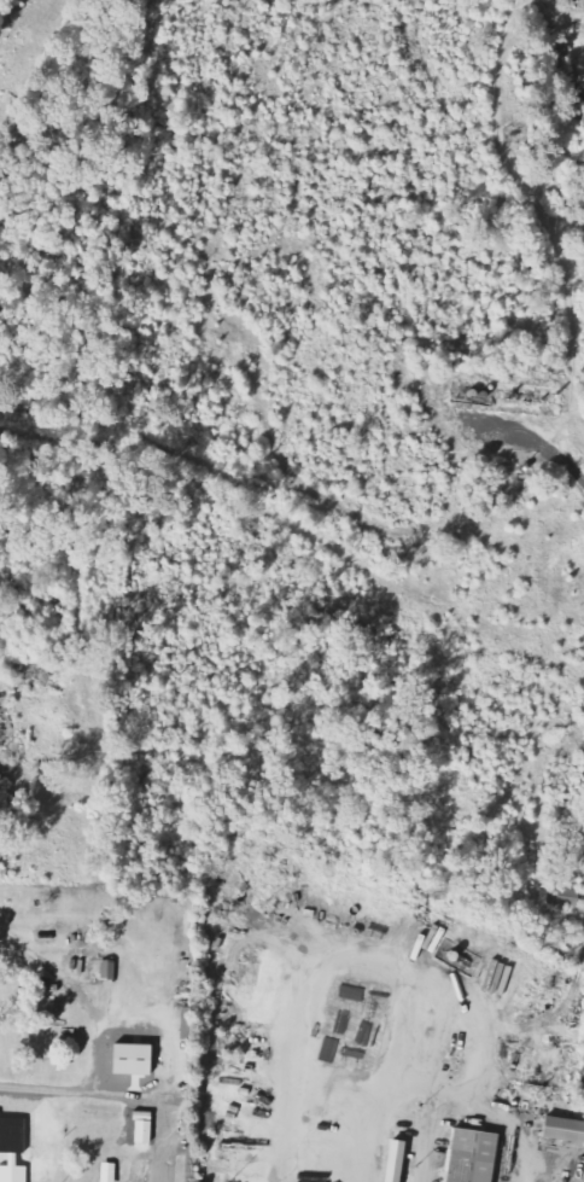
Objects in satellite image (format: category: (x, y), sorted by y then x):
building: (561, 896)
road: (58, 973)
building: (245, 973)
road: (187, 1012)
building: (328, 1050)
road: (103, 1059)
building: (129, 1059)
road: (123, 1094)
building: (560, 1128)
building: (139, 1130)
building: (391, 1152)
building: (467, 1155)
building: (104, 1172)
building: (138, 1172)
building: (12, 1174)

